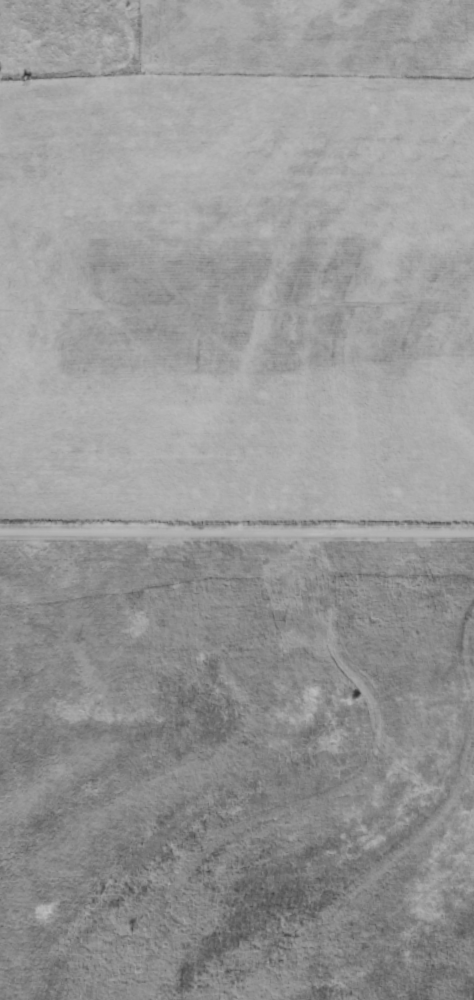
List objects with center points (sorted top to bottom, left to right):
road: (237, 535)

